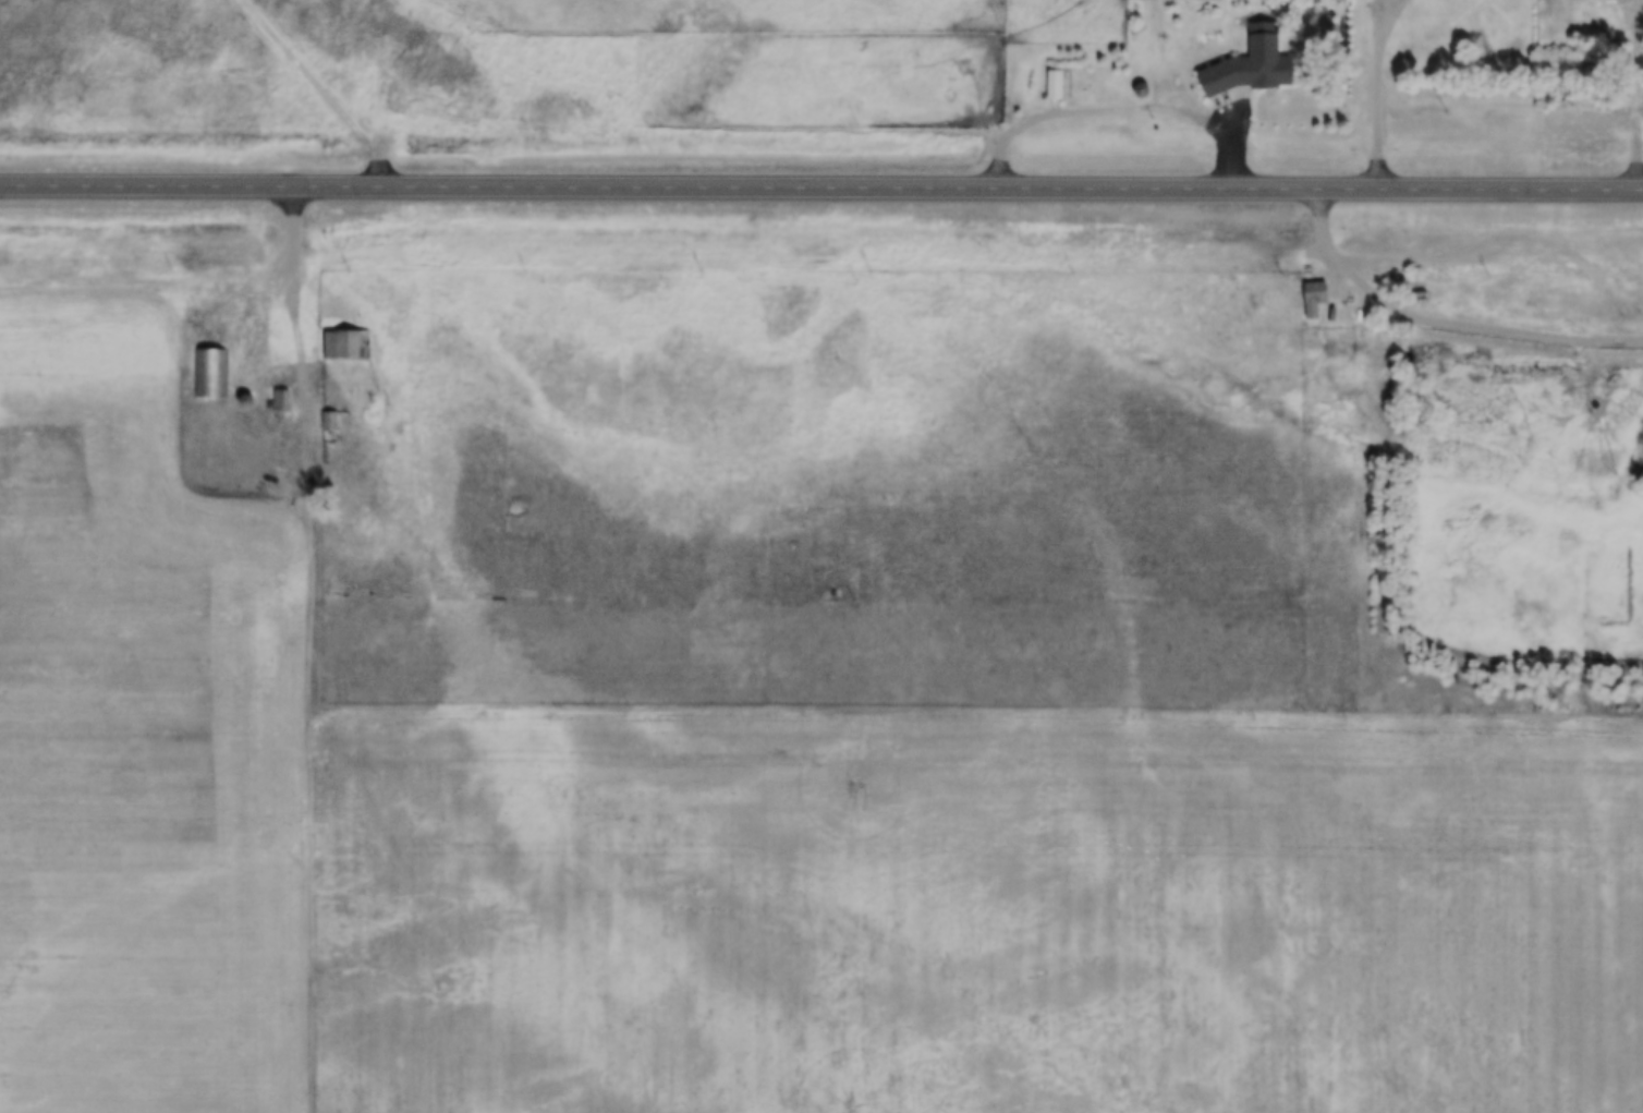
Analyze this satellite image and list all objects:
building: (1245, 65)
building: (1052, 86)
building: (1141, 90)
silo: (1141, 90)
road: (1383, 93)
road: (1640, 96)
road: (1117, 109)
road: (821, 192)
road: (307, 295)
building: (1311, 299)
road: (1448, 322)
building: (343, 344)
building: (209, 374)
building: (278, 400)
building: (245, 402)
silo: (245, 402)
building: (327, 422)

